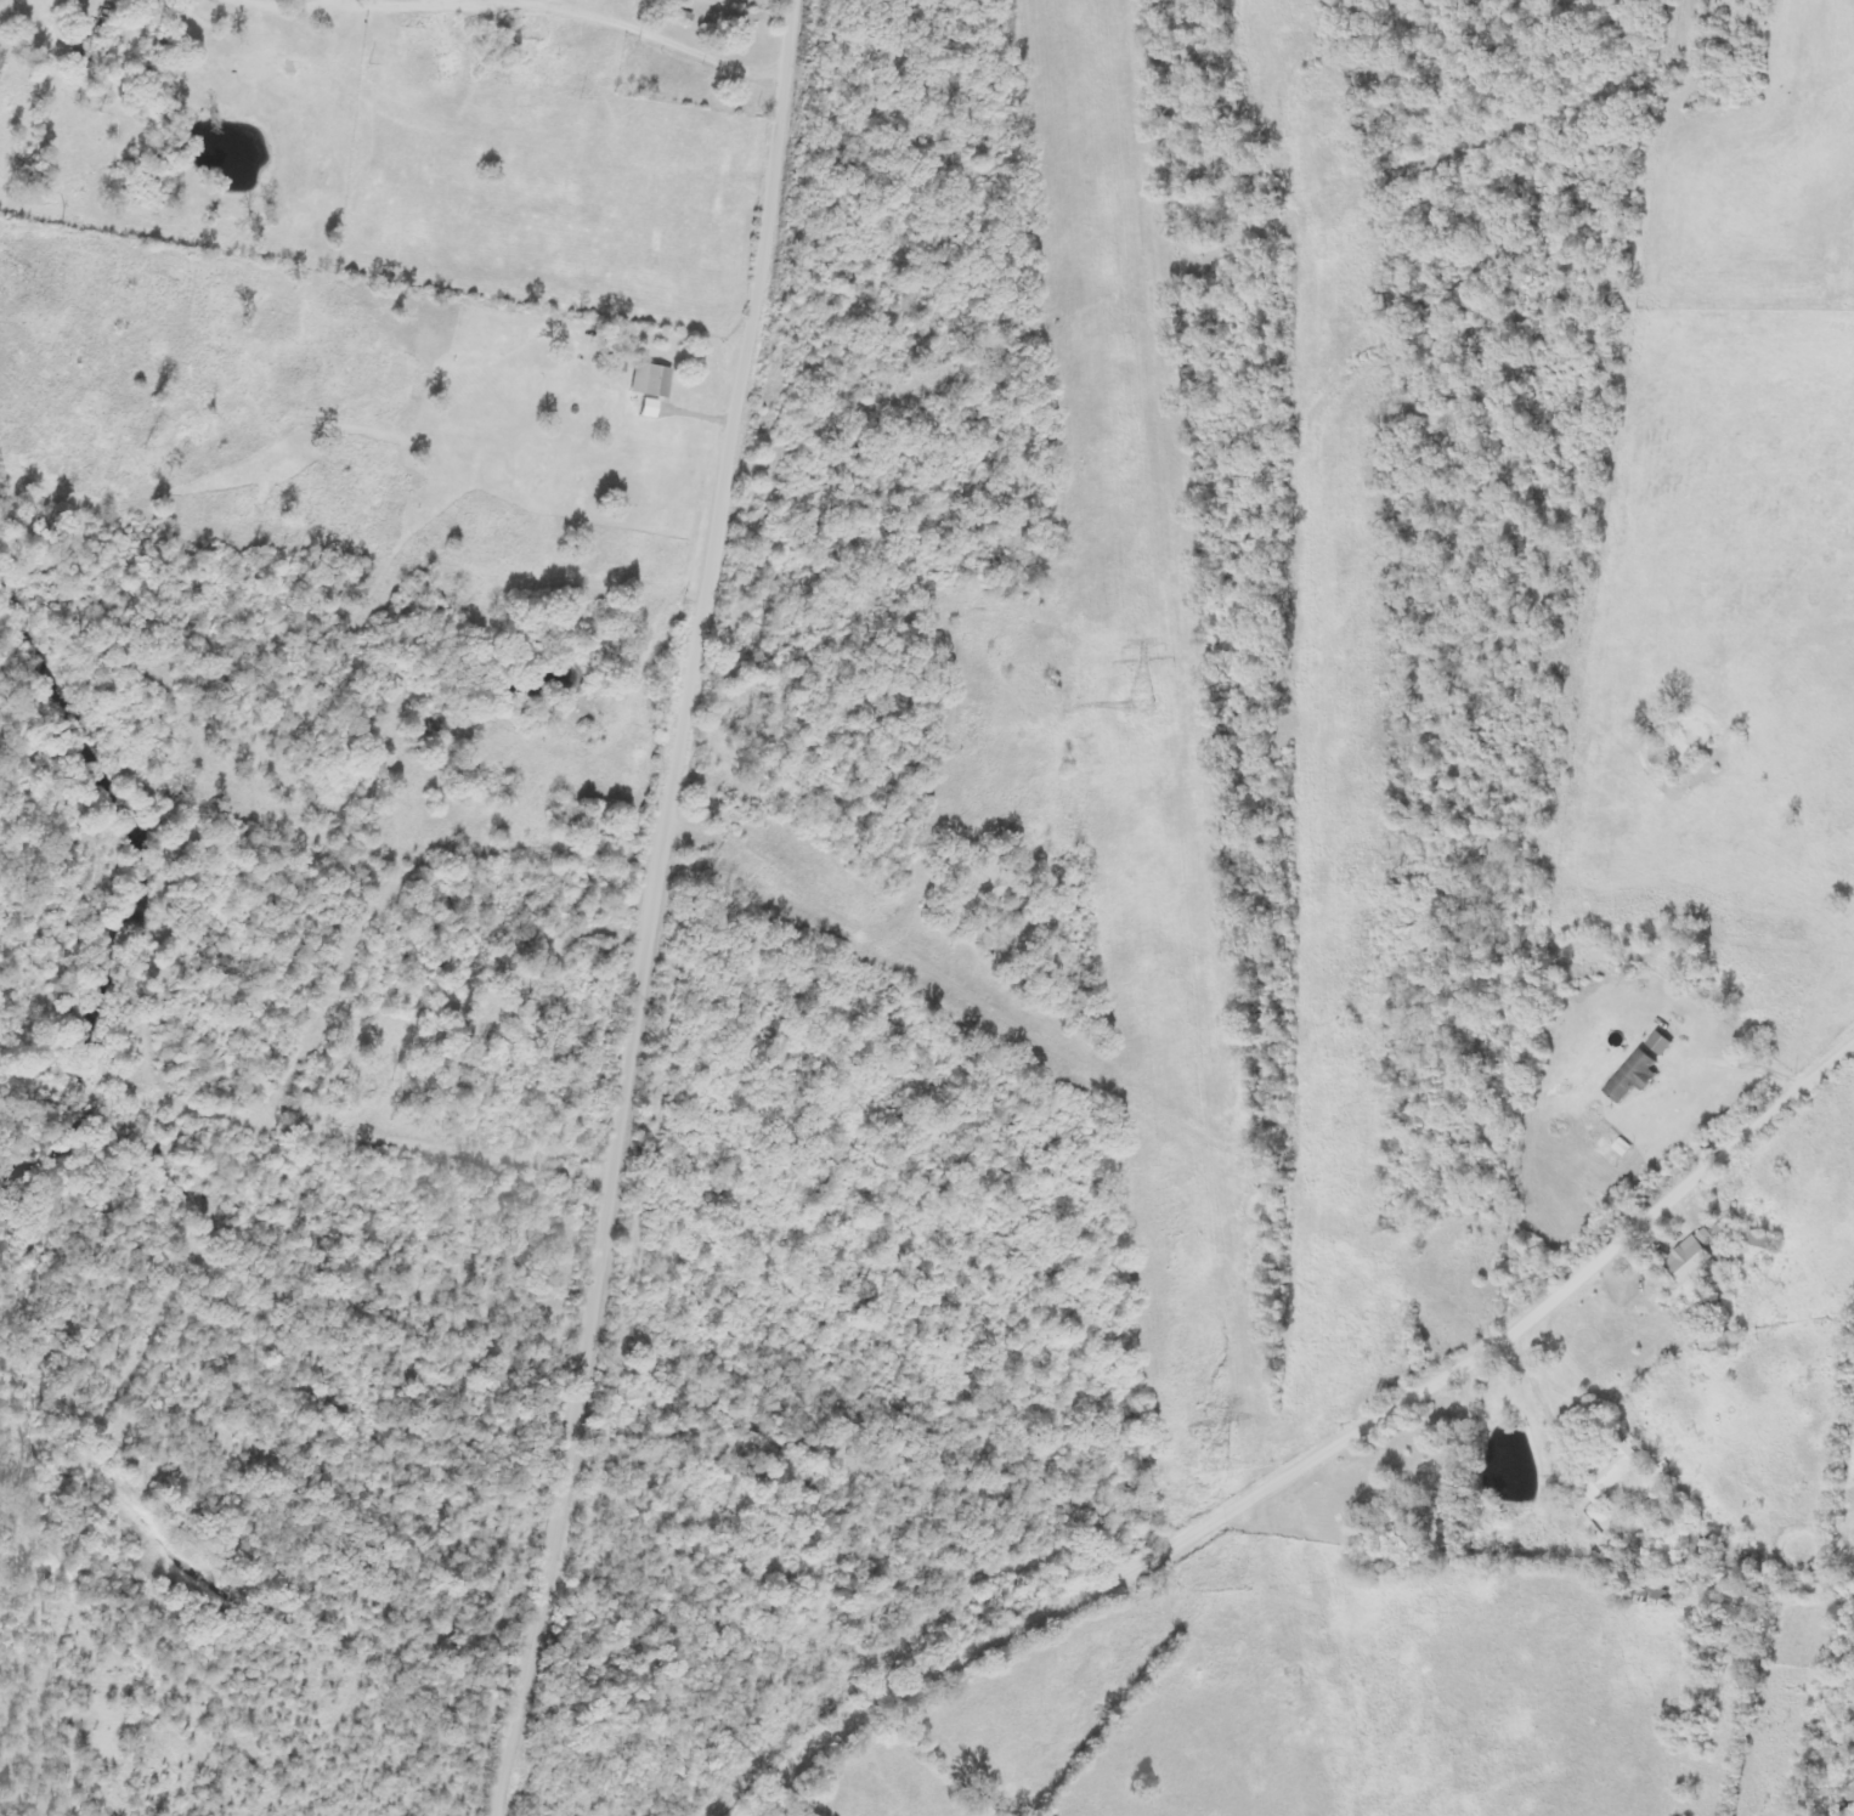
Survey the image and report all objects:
building: (680, 17)
building: (651, 380)
building: (650, 408)
power tower: (1136, 708)
railway: (1358, 909)
road: (666, 910)
building: (1661, 1043)
building: (1634, 1077)
building: (1757, 1240)
building: (1690, 1258)
road: (1321, 1459)
power tower: (1213, 1465)
building: (1611, 1473)

